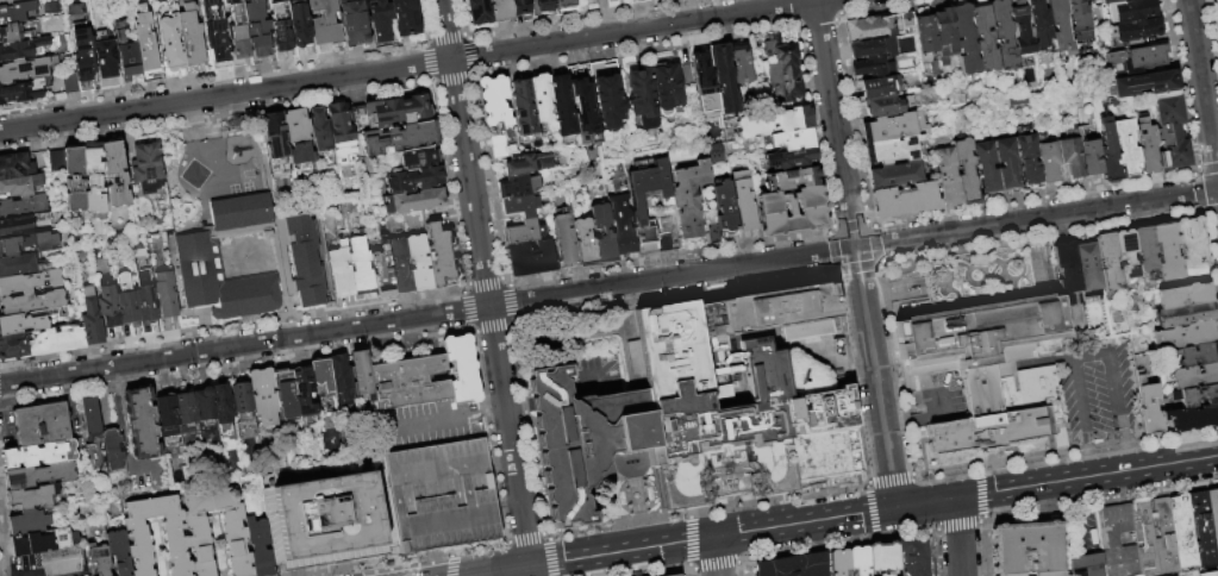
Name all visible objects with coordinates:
building: (246, 0)
building: (582, 0)
building: (638, 1)
building: (1108, 1)
building: (1216, 1)
building: (11, 2)
building: (566, 4)
building: (545, 6)
building: (520, 7)
building: (1130, 10)
building: (501, 11)
building: (480, 12)
building: (17, 13)
building: (405, 18)
building: (354, 21)
building: (381, 21)
building: (1079, 21)
building: (300, 23)
building: (325, 23)
building: (281, 24)
building: (1039, 24)
building: (879, 26)
building: (257, 27)
building: (1060, 27)
building: (1022, 29)
road: (444, 30)
road: (636, 30)
building: (1133, 30)
building: (237, 32)
building: (13, 35)
building: (944, 35)
building: (1002, 35)
building: (925, 37)
building: (983, 38)
building: (192, 39)
building: (964, 39)
building: (146, 40)
building: (217, 40)
building: (173, 48)
building: (26, 49)
building: (872, 49)
building: (127, 55)
building: (1137, 57)
building: (85, 63)
building: (739, 63)
building: (107, 64)
building: (933, 67)
building: (872, 68)
building: (27, 69)
building: (781, 73)
building: (701, 75)
building: (722, 81)
building: (70, 83)
building: (1144, 83)
building: (54, 86)
building: (879, 87)
building: (666, 89)
building: (21, 92)
road: (1203, 94)
road: (225, 95)
building: (641, 99)
building: (606, 101)
building: (493, 102)
building: (542, 102)
building: (561, 106)
building: (882, 106)
building: (582, 109)
building: (395, 111)
building: (523, 111)
building: (772, 123)
road: (833, 124)
building: (894, 127)
building: (1170, 130)
building: (319, 131)
building: (341, 133)
building: (396, 139)
building: (299, 140)
building: (792, 140)
building: (276, 142)
building: (1145, 145)
building: (496, 146)
building: (1126, 149)
building: (892, 150)
building: (1110, 151)
building: (1070, 157)
building: (1091, 157)
building: (1026, 158)
building: (56, 159)
building: (417, 159)
building: (789, 159)
building: (1048, 161)
building: (1005, 162)
building: (525, 164)
building: (14, 165)
building: (986, 165)
building: (146, 168)
building: (964, 170)
building: (114, 173)
building: (894, 175)
building: (948, 176)
building: (74, 179)
building: (92, 180)
building: (791, 180)
building: (412, 181)
road: (469, 183)
building: (20, 186)
building: (517, 187)
building: (692, 190)
building: (742, 200)
building: (789, 200)
building: (904, 200)
building: (664, 201)
building: (413, 202)
building: (23, 206)
building: (518, 206)
building: (724, 206)
road: (1036, 219)
building: (792, 221)
building: (663, 223)
building: (19, 224)
building: (620, 225)
building: (523, 232)
building: (601, 234)
building: (563, 239)
building: (26, 243)
building: (582, 243)
building: (1191, 246)
building: (1144, 252)
building: (1166, 252)
building: (1125, 255)
building: (439, 256)
building: (198, 258)
building: (529, 258)
building: (1107, 262)
building: (418, 263)
building: (19, 265)
building: (399, 265)
building: (360, 267)
building: (1087, 267)
building: (341, 270)
road: (712, 270)
building: (381, 273)
building: (1067, 274)
building: (29, 281)
parking lot: (906, 293)
building: (164, 294)
building: (1182, 295)
building: (144, 296)
road: (529, 300)
building: (126, 301)
building: (32, 303)
building: (107, 305)
building: (1183, 315)
building: (90, 319)
building: (20, 324)
building: (1186, 334)
building: (55, 340)
building: (13, 345)
road: (244, 345)
building: (1197, 355)
road: (1112, 359)
building: (461, 369)
building: (991, 369)
building: (361, 372)
building: (1194, 376)
building: (321, 377)
road: (874, 377)
building: (341, 380)
road: (499, 380)
building: (408, 383)
road: (947, 388)
road: (1075, 393)
building: (304, 394)
building: (1195, 396)
building: (242, 397)
building: (263, 397)
building: (286, 400)
building: (695, 401)
building: (204, 406)
building: (223, 406)
building: (1148, 407)
building: (185, 409)
road: (489, 409)
building: (167, 411)
road: (431, 419)
building: (1191, 419)
road: (904, 420)
building: (40, 425)
building: (142, 425)
building: (93, 433)
road: (1125, 436)
road: (1085, 449)
building: (113, 450)
building: (40, 455)
building: (39, 476)
road: (1056, 482)
road: (1079, 493)
building: (438, 495)
parking garage: (438, 495)
building: (31, 499)
traffic signals: (895, 508)
road: (520, 511)
building: (1214, 515)
building: (329, 521)
building: (27, 522)
road: (1083, 528)
building: (1204, 530)
building: (235, 531)
building: (1185, 531)
building: (137, 536)
road: (957, 537)
building: (1166, 537)
road: (712, 538)
building: (1147, 539)
building: (1118, 540)
building: (42, 543)
building: (258, 546)
building: (1026, 547)
building: (119, 552)
building: (916, 556)
road: (713, 557)
building: (882, 557)
building: (99, 559)
building: (858, 561)
building: (61, 562)
building: (838, 562)
building: (794, 565)
building: (1088, 565)
traffic signals: (530, 566)
road: (500, 571)
building: (1050, 574)
building: (1210, 574)
building: (673, 575)
building: (1014, 575)

